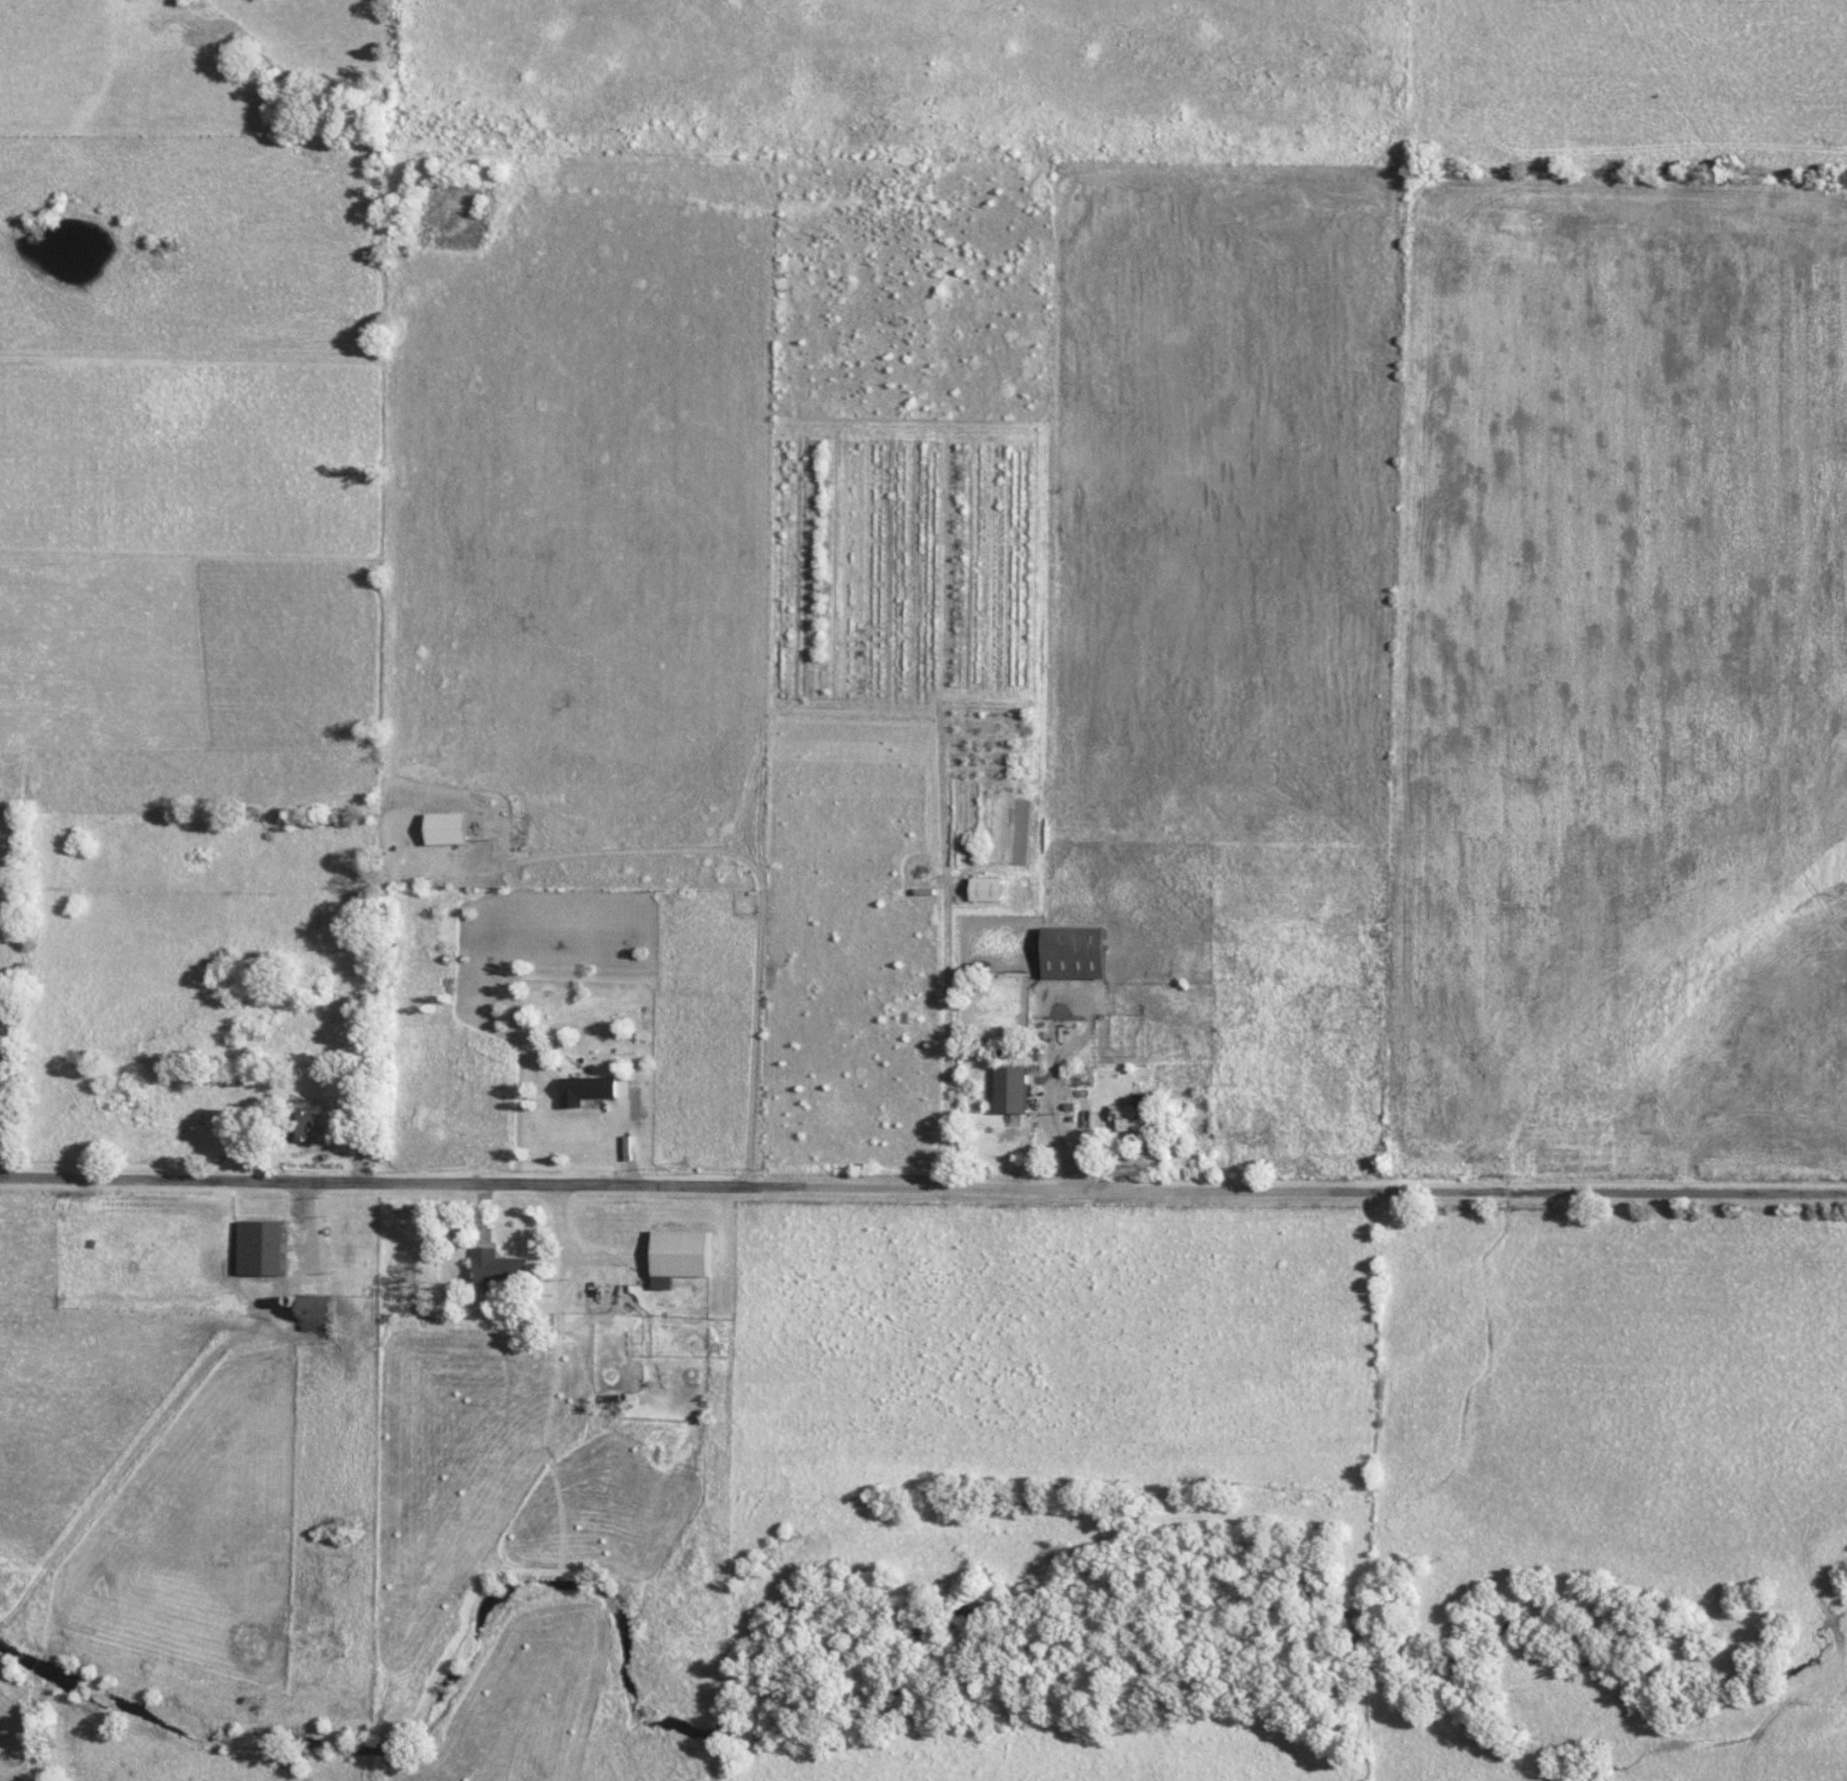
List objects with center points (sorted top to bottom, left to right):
building: (449, 828)
building: (995, 889)
building: (1080, 951)
building: (592, 1090)
building: (1017, 1090)
road: (1050, 1115)
building: (1137, 1115)
building: (308, 1121)
road: (922, 1190)
building: (267, 1248)
building: (690, 1260)
building: (504, 1268)
building: (606, 1298)
building: (613, 1392)

